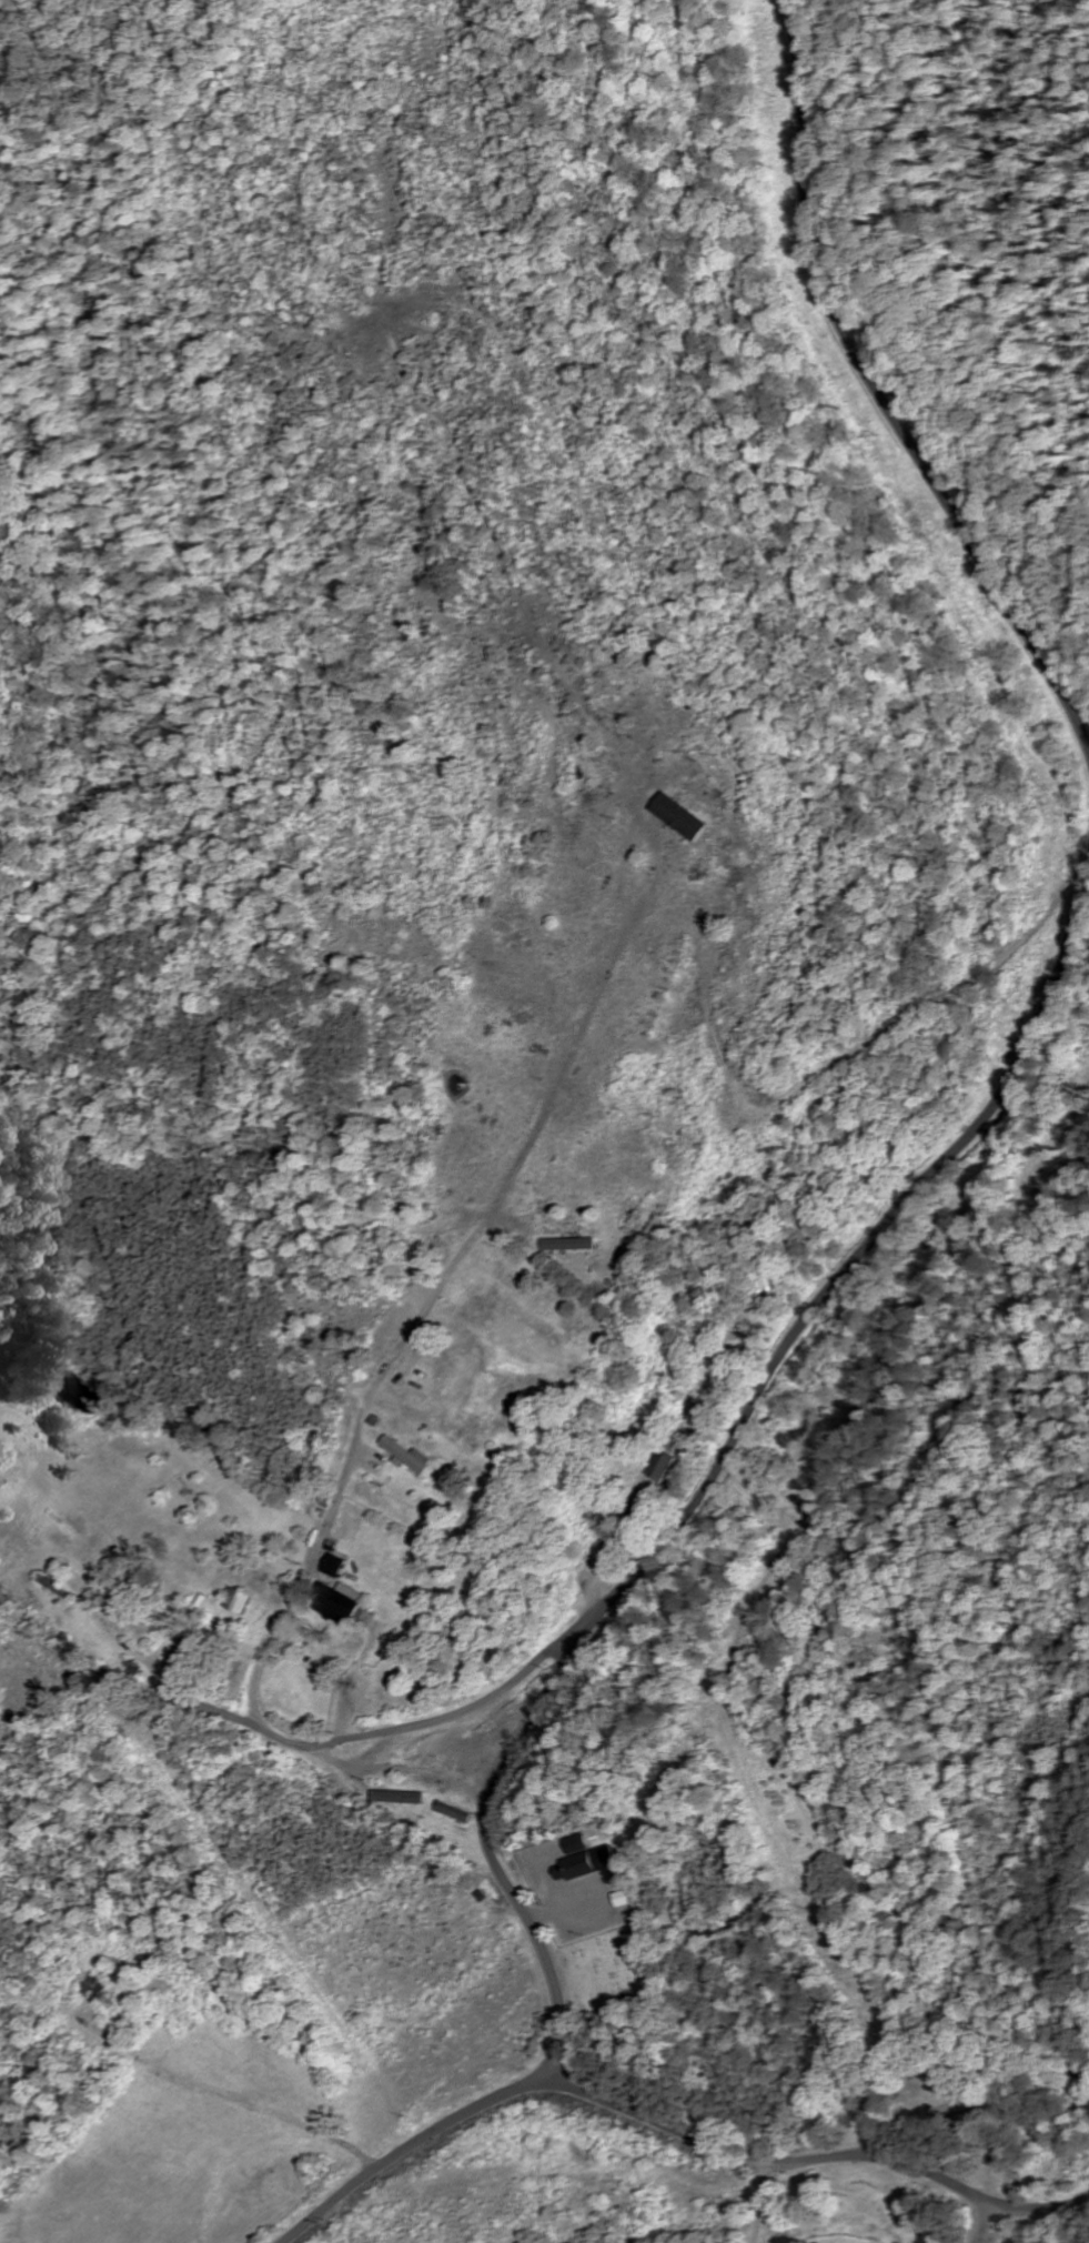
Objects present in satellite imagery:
road: (878, 396)
building: (677, 817)
road: (435, 1288)
building: (405, 1457)
building: (662, 1468)
building: (332, 1567)
road: (622, 1585)
building: (335, 1602)
road: (471, 1708)
road: (323, 1751)
building: (576, 1845)
building: (583, 1867)
road: (556, 1910)
road: (815, 2161)
road: (762, 2204)
road: (979, 2221)
road: (1009, 2227)

